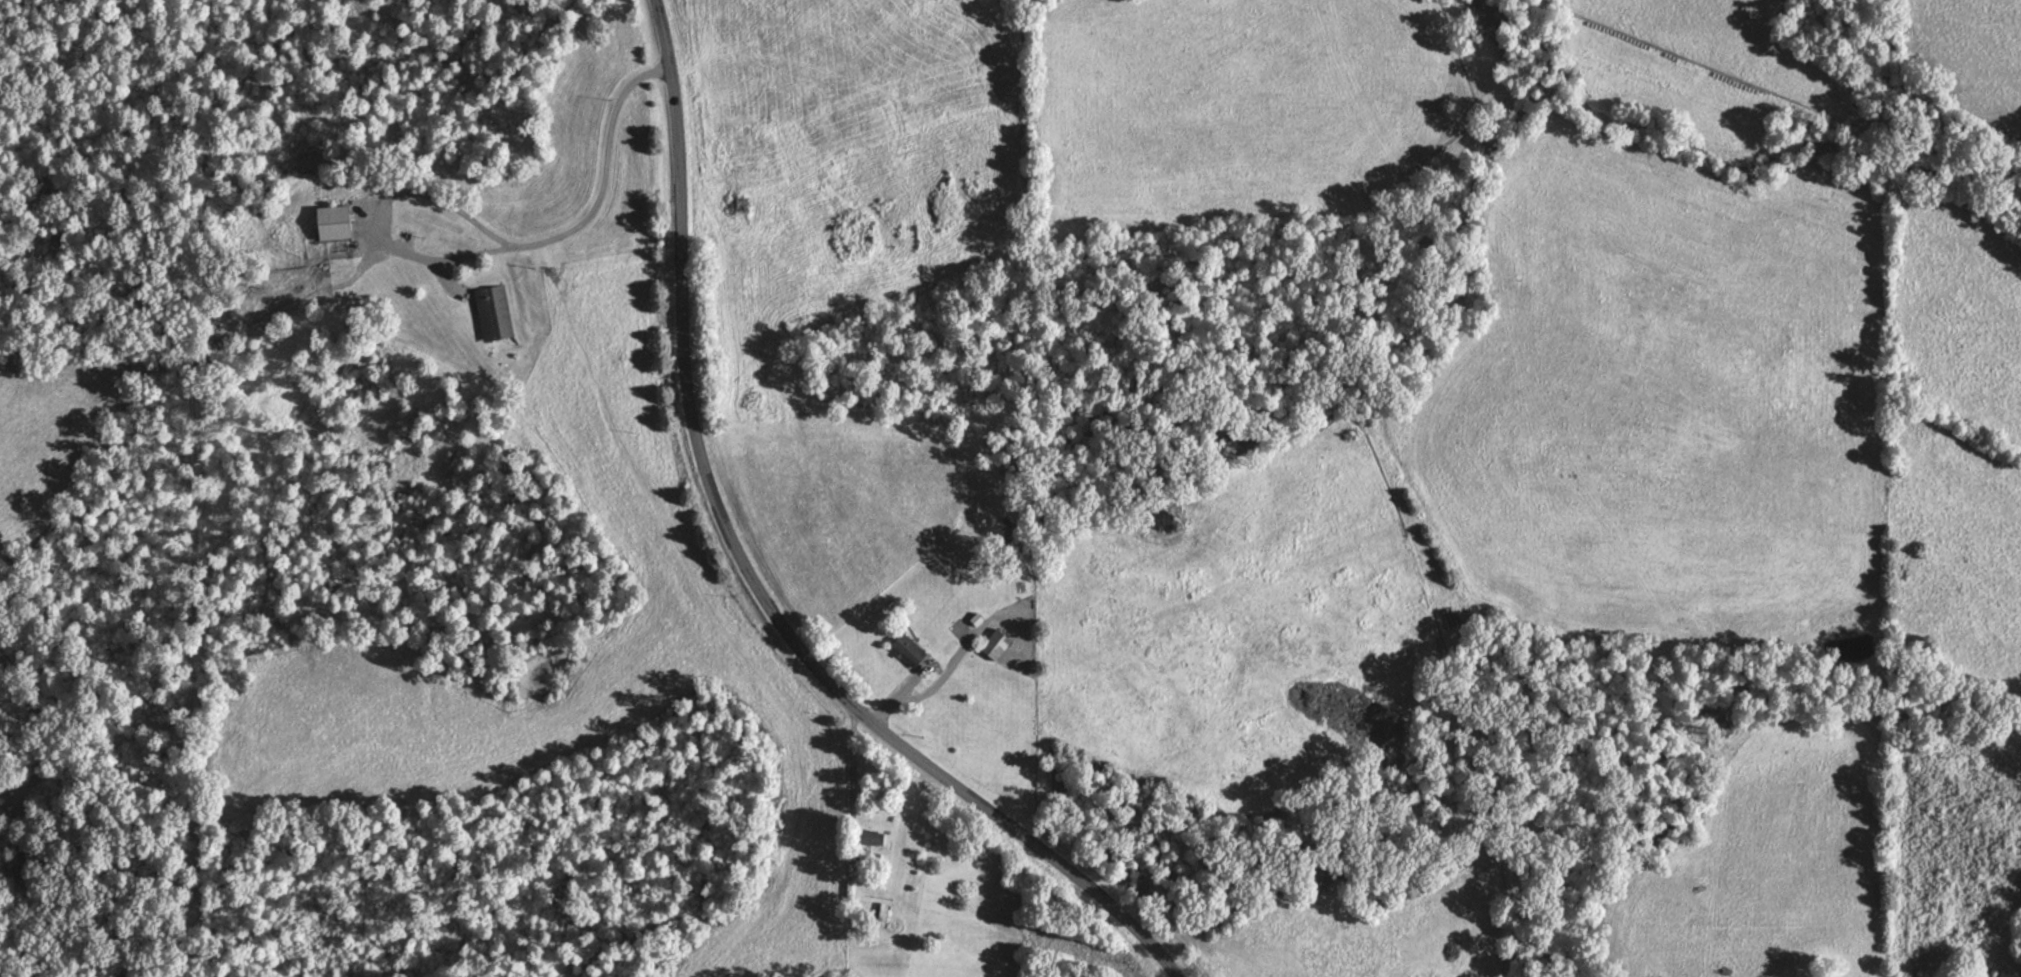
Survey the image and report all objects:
building: (337, 222)
building: (494, 313)
road: (750, 576)
building: (997, 644)
building: (910, 650)
building: (872, 837)
building: (881, 911)

